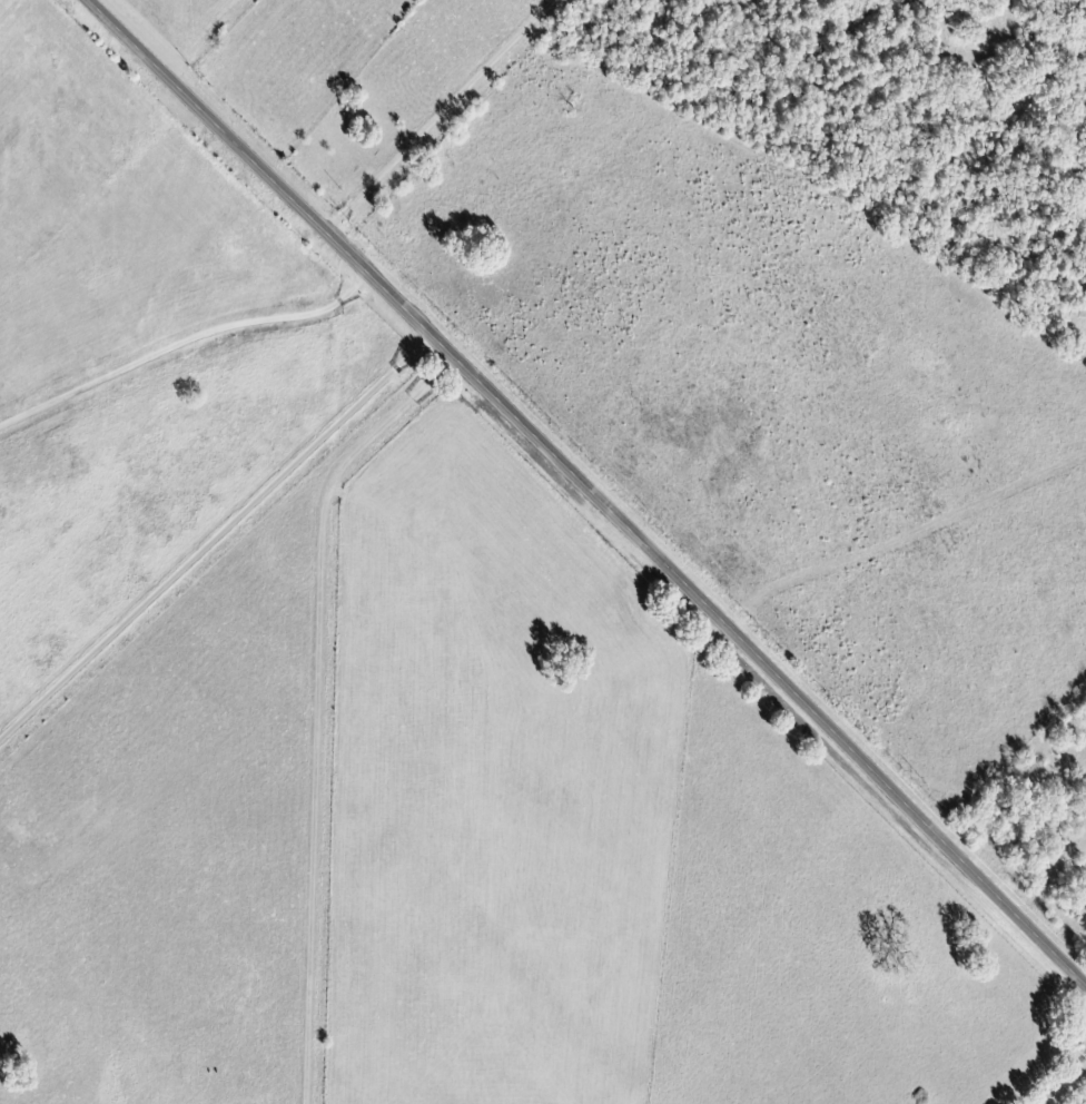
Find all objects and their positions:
road: (446, 119)
road: (591, 486)
road: (906, 525)
road: (304, 678)

